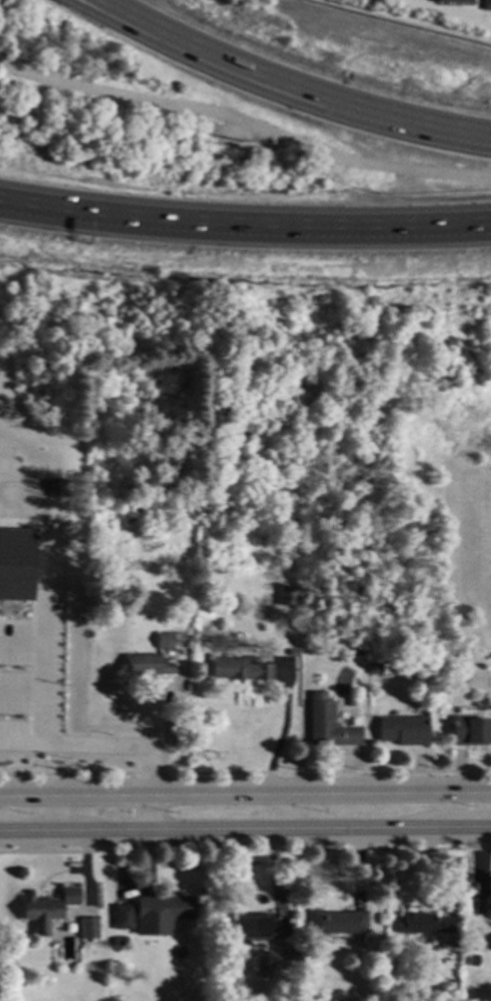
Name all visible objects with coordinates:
building: (451, 1)
building: (486, 6)
road: (279, 84)
road: (3, 206)
road: (3, 206)
road: (248, 230)
building: (294, 373)
building: (54, 488)
building: (147, 521)
building: (294, 522)
building: (16, 565)
building: (288, 595)
road: (41, 602)
building: (164, 641)
building: (355, 652)
building: (293, 654)
building: (145, 667)
building: (240, 669)
building: (374, 670)
building: (326, 724)
building: (403, 731)
building: (469, 732)
road: (94, 744)
road: (245, 791)
road: (152, 813)
road: (245, 832)
building: (482, 905)
building: (47, 908)
building: (169, 908)
building: (123, 915)
building: (338, 921)
building: (425, 923)
building: (252, 924)
building: (88, 927)
building: (120, 940)
building: (287, 953)
building: (303, 957)
building: (473, 960)
building: (427, 997)

